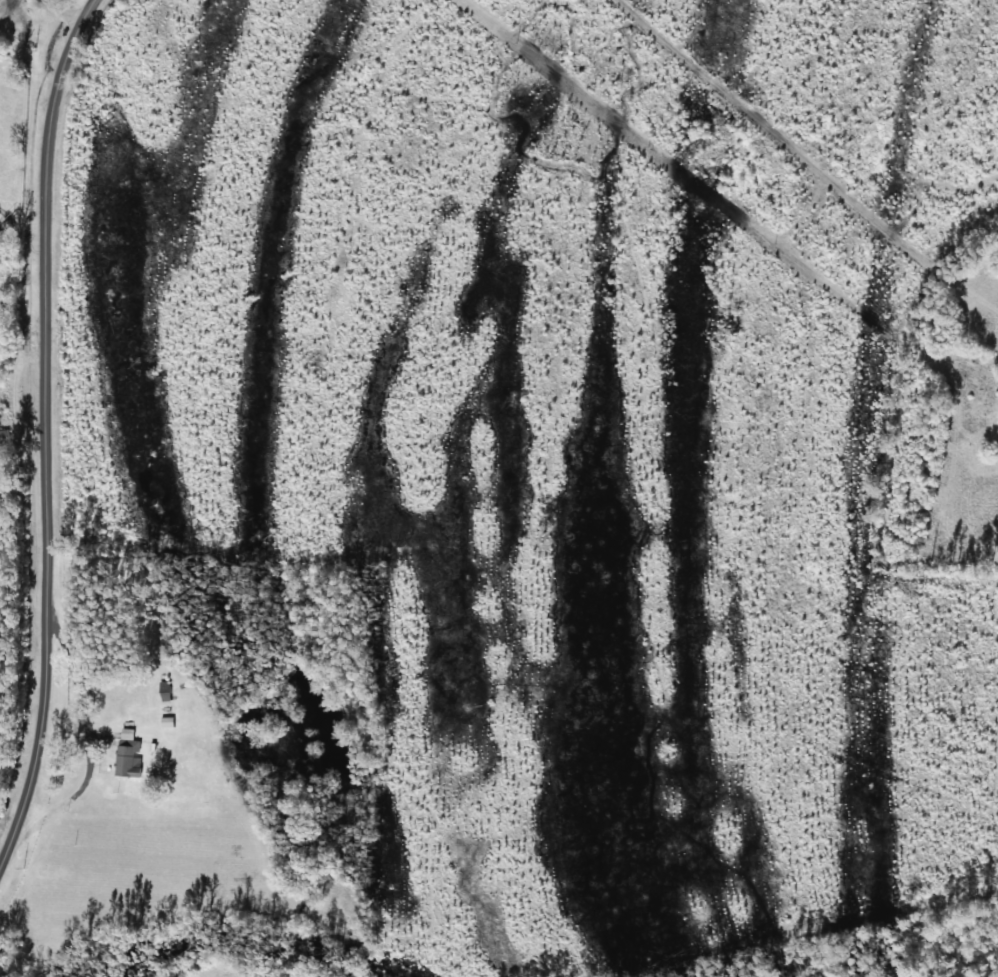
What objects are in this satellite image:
road: (782, 163)
road: (44, 429)
building: (128, 754)
road: (12, 778)

